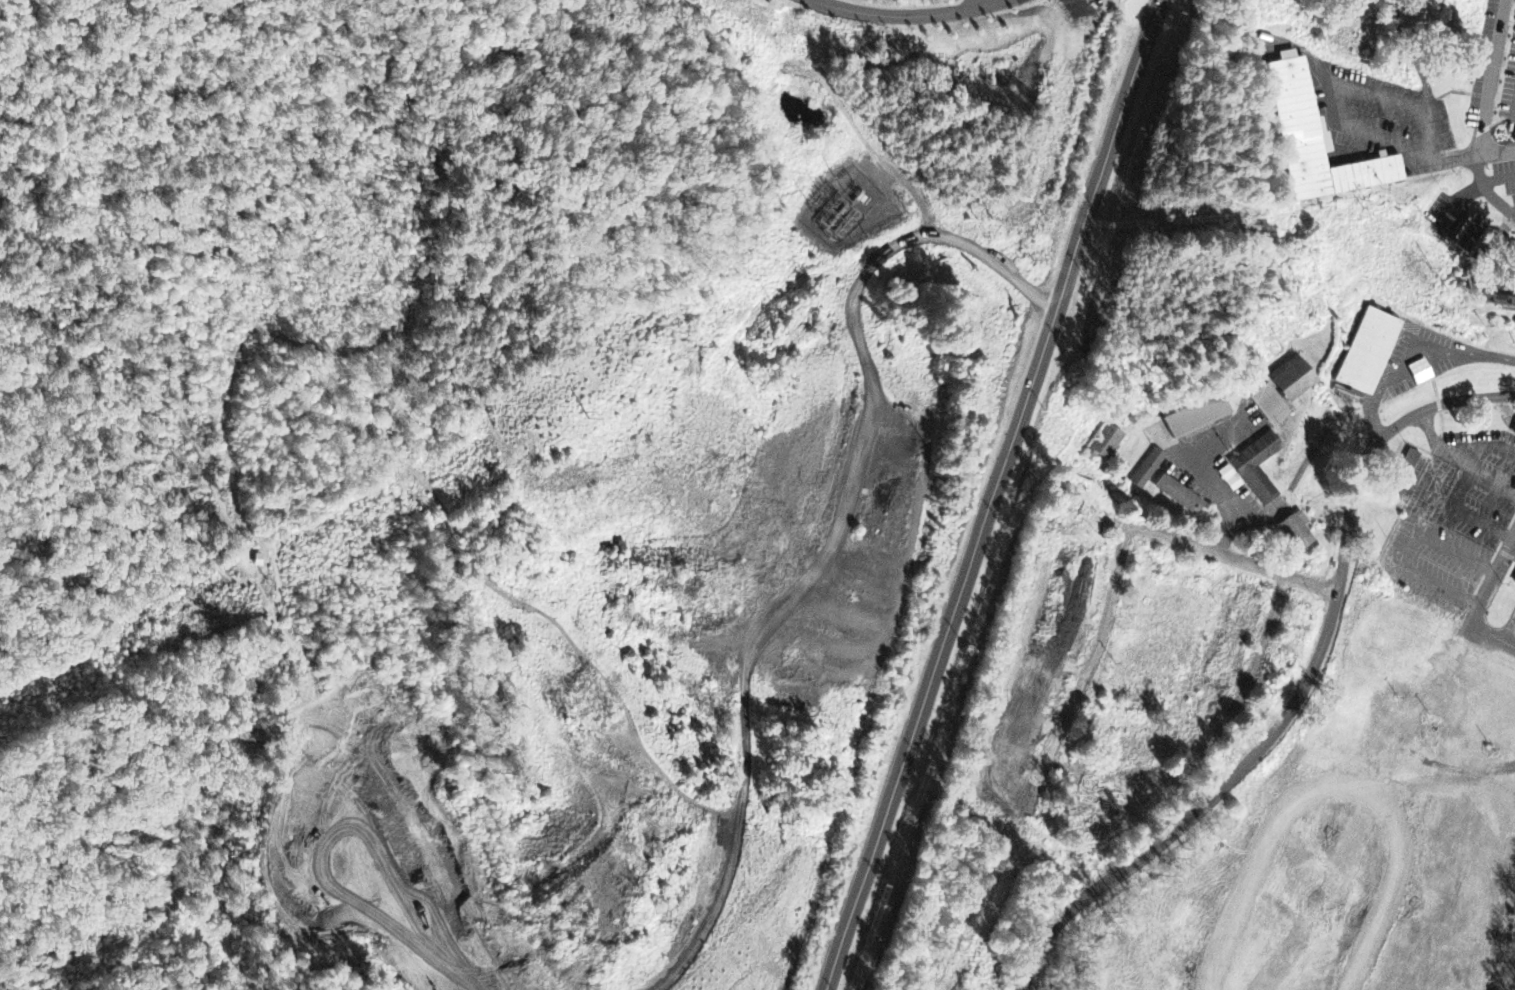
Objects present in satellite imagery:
road: (0, 0)
road: (11, 13)
road: (905, 14)
road: (204, 38)
road: (105, 55)
road: (1491, 76)
road: (1425, 80)
building: (1318, 141)
road: (1481, 155)
power substation: (850, 207)
building: (1470, 235)
road: (205, 253)
building: (1493, 298)
building: (1370, 353)
building: (1280, 394)
building: (1198, 417)
building: (1513, 427)
building: (1514, 437)
building: (1106, 445)
building: (1148, 470)
building: (1256, 470)
building: (1229, 479)
road: (994, 495)
building: (1180, 496)
road: (103, 509)
building: (1294, 533)
road: (1123, 543)
road: (0, 565)
building: (1514, 579)
road: (1492, 582)
road: (1492, 636)
road: (1301, 691)
road: (1235, 709)

